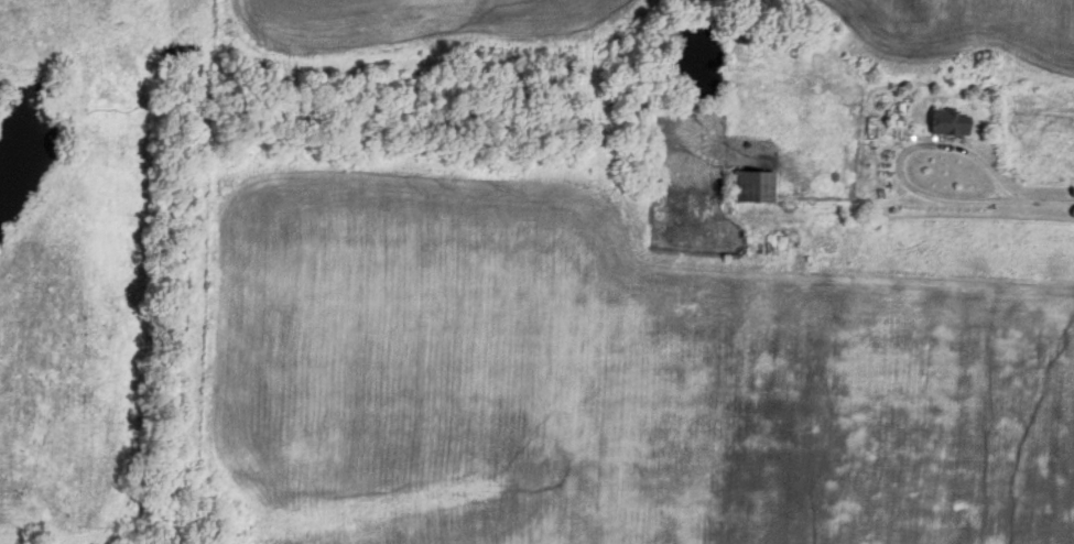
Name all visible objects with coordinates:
building: (943, 122)
building: (751, 186)
road: (986, 200)

